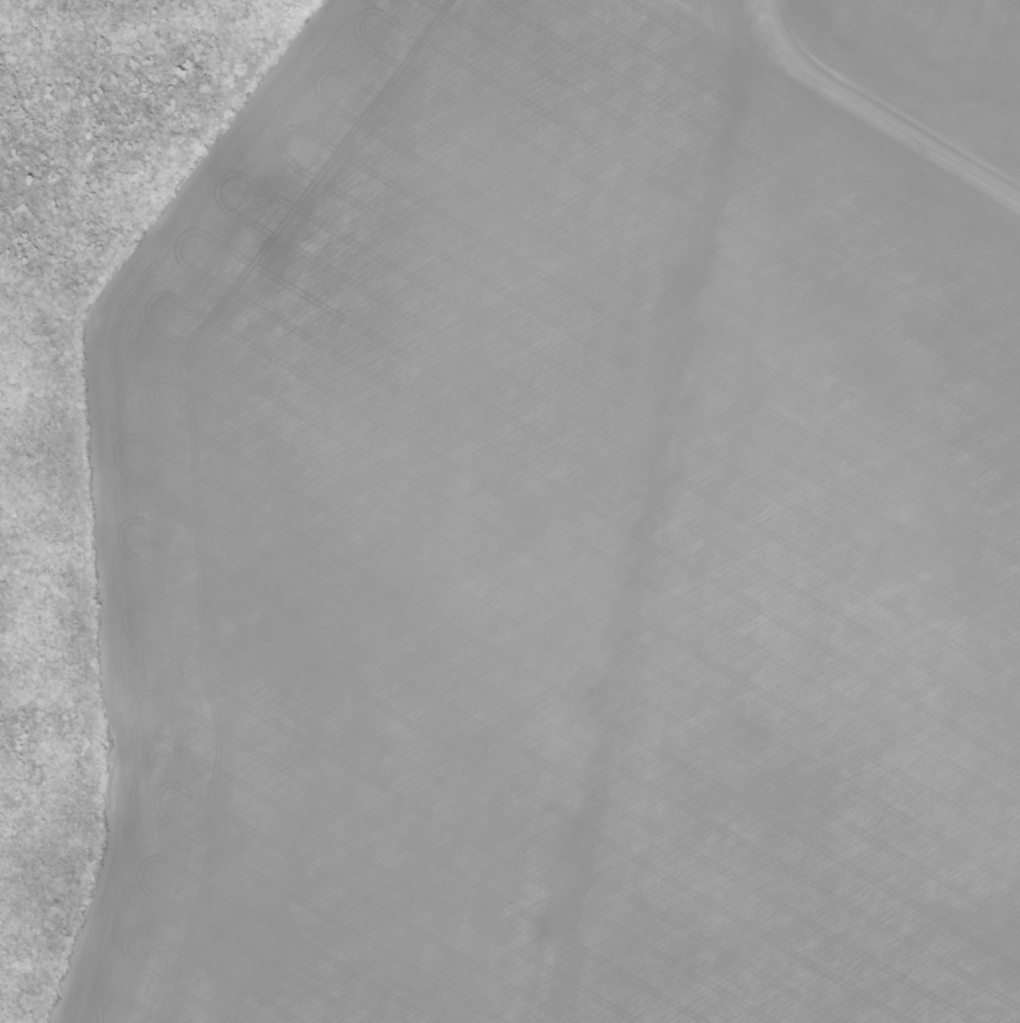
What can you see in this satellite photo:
road: (761, 12)
road: (885, 118)

